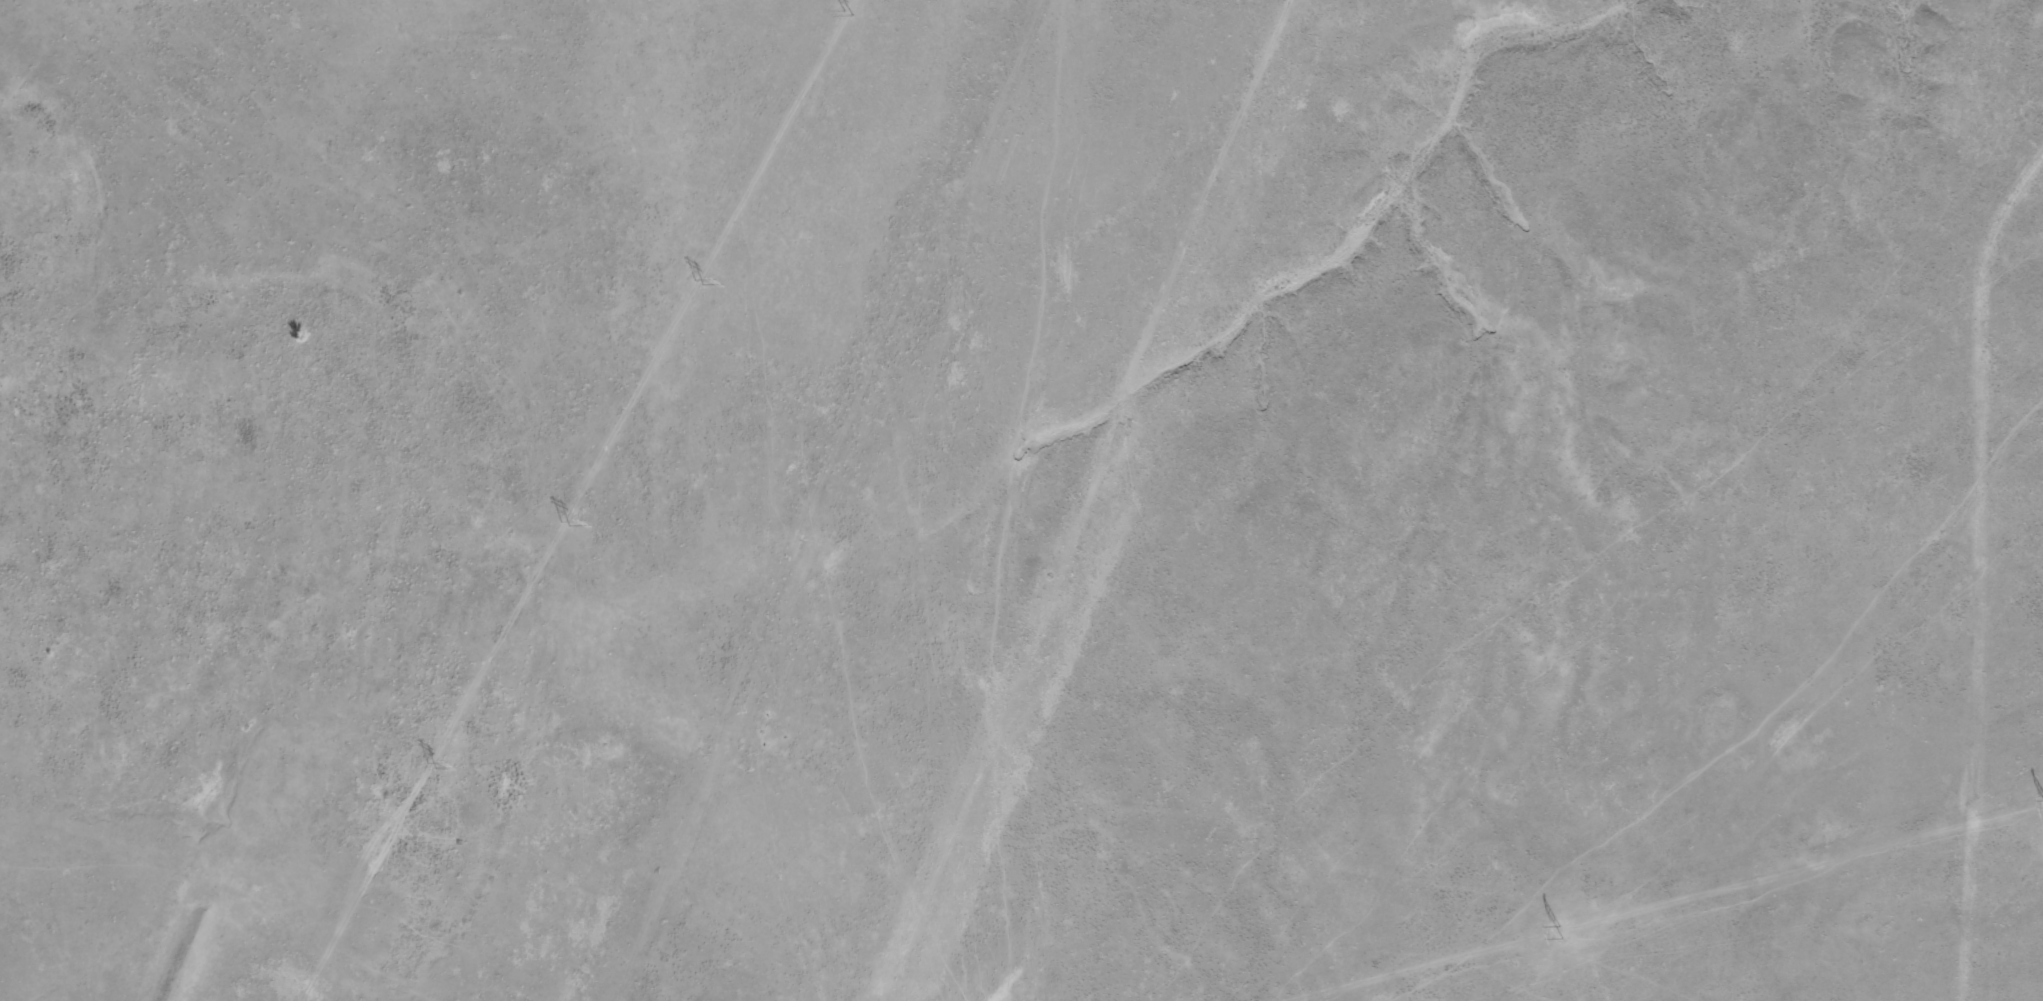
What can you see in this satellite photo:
power tower: (856, 14)
power tower: (698, 273)
power tower: (554, 524)
road: (486, 610)
power tower: (427, 767)
power tower: (1564, 931)

